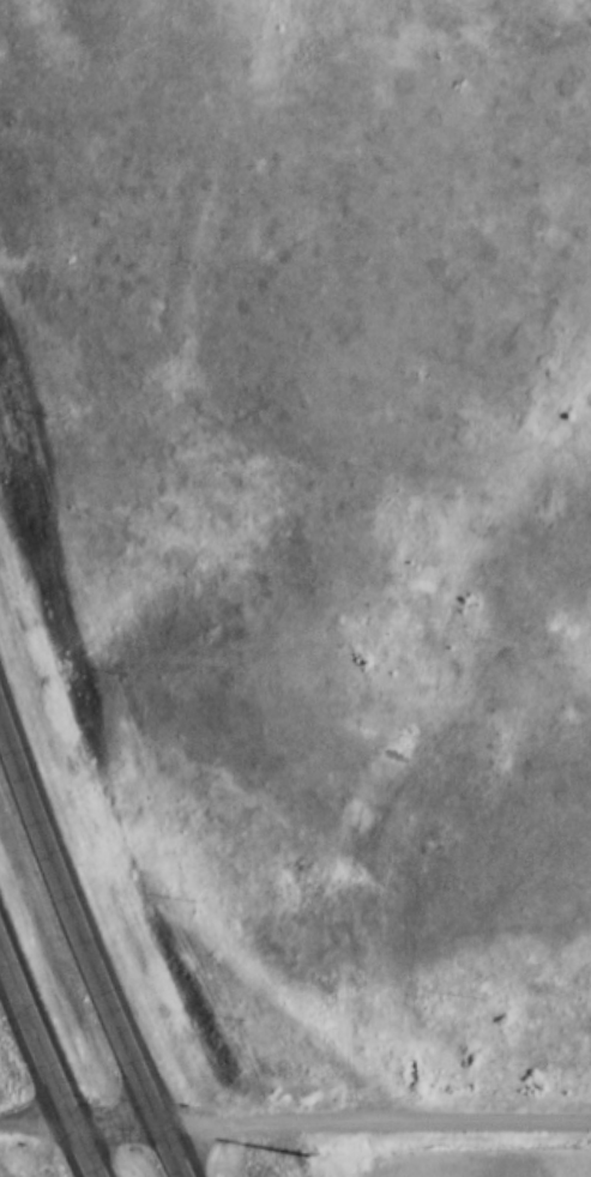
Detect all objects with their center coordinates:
road: (84, 946)
road: (47, 1052)
road: (37, 1123)
road: (375, 1123)
road: (116, 1124)

